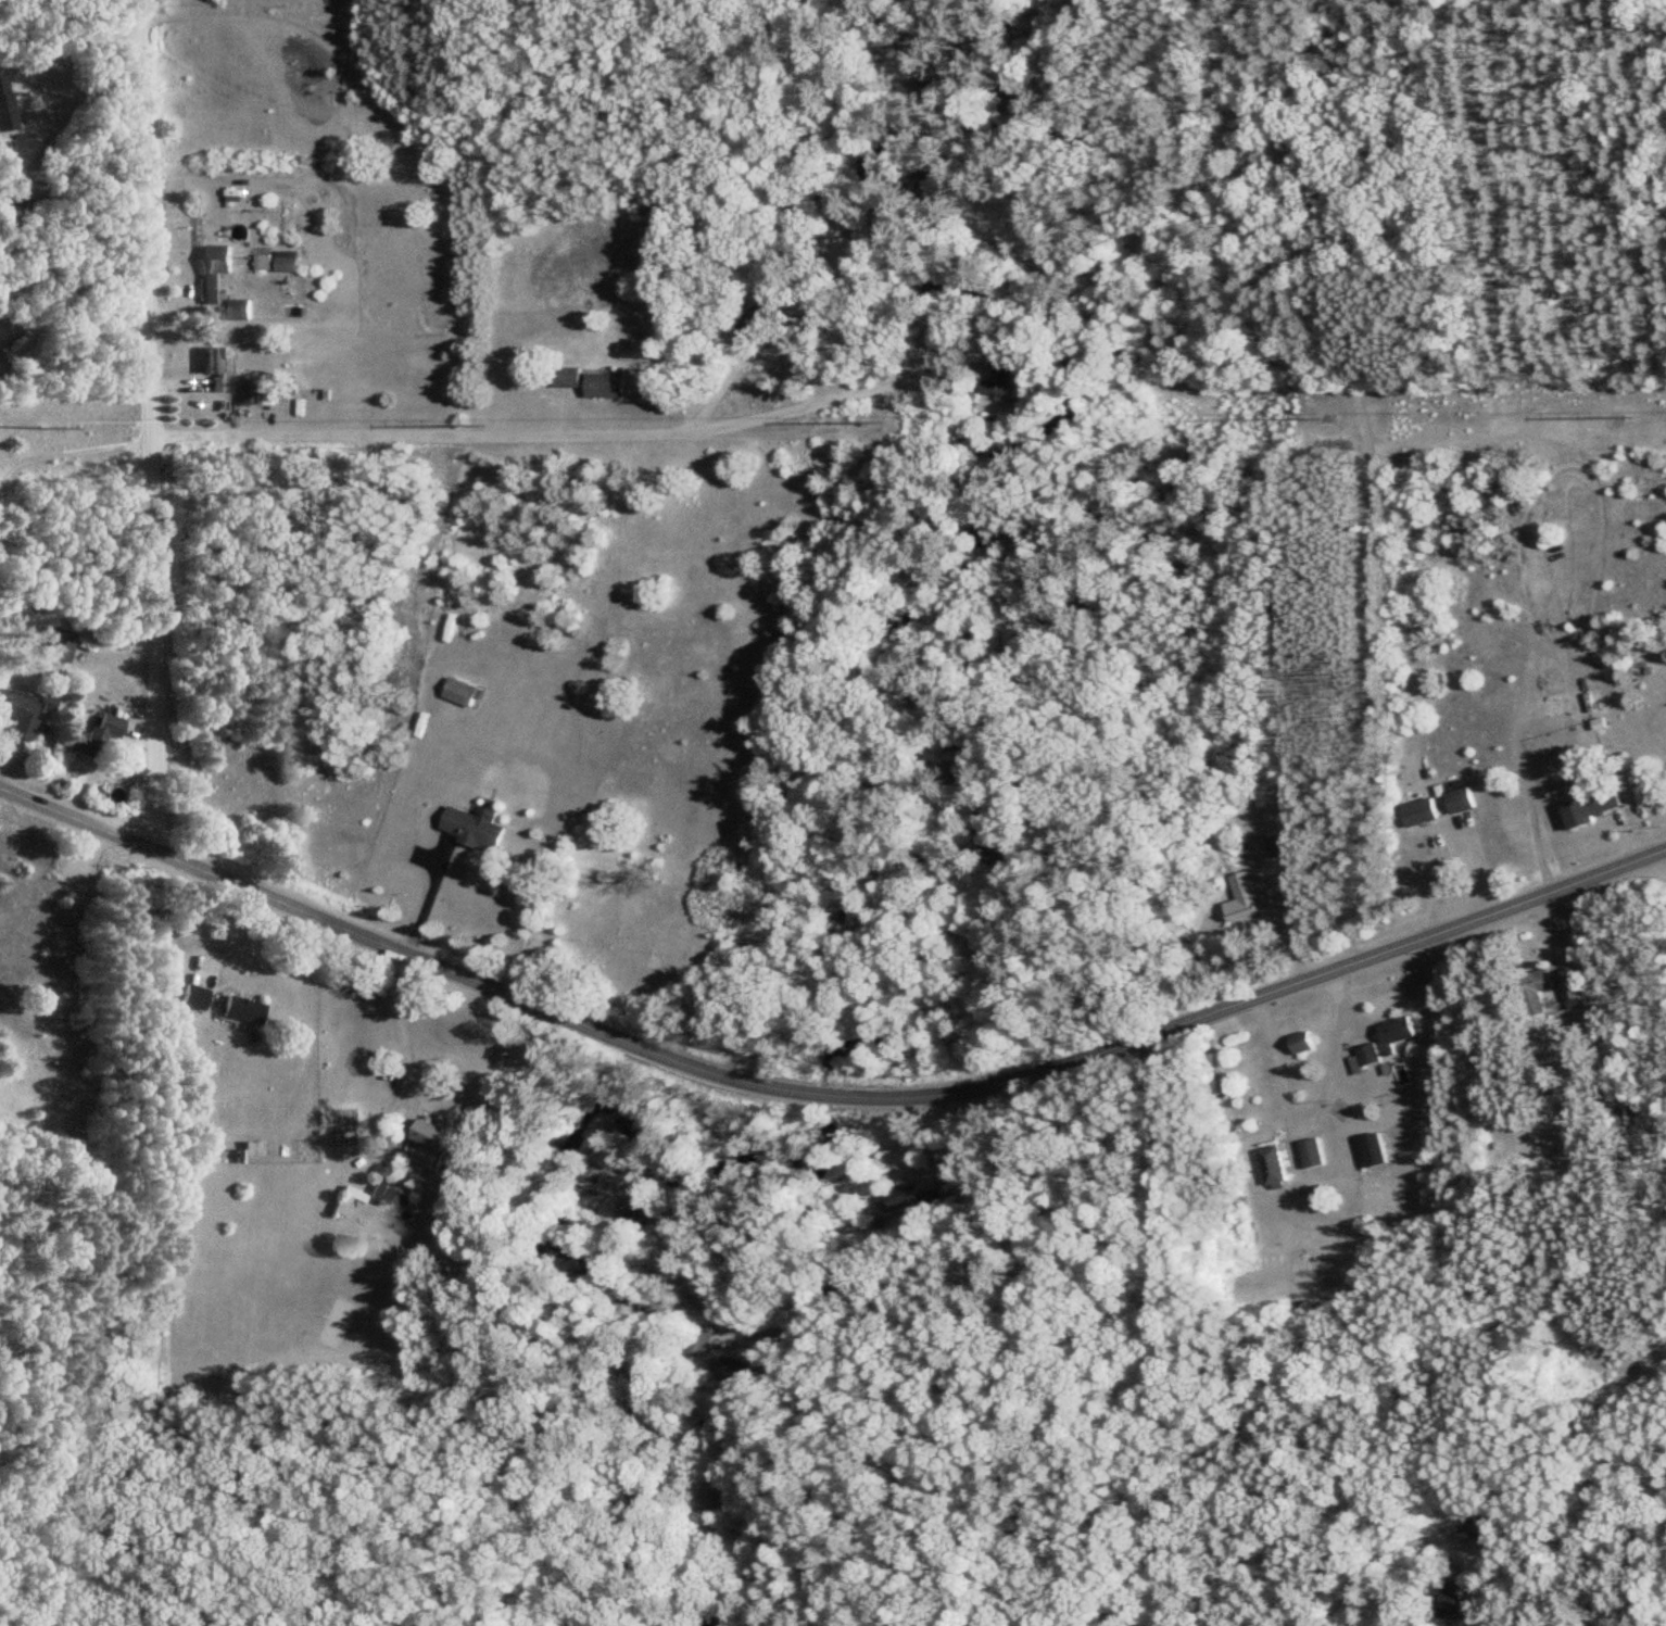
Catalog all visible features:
building: (901, 49)
road: (1136, 61)
road: (74, 104)
building: (2, 113)
building: (837, 206)
building: (282, 265)
building: (209, 273)
building: (237, 311)
road: (72, 332)
building: (212, 368)
road: (728, 377)
building: (567, 378)
building: (603, 386)
building: (994, 389)
building: (245, 394)
power tower: (1625, 416)
road: (146, 418)
power tower: (1317, 418)
power tower: (881, 420)
power tower: (481, 427)
power tower: (37, 428)
road: (626, 431)
road: (1368, 471)
building: (51, 647)
building: (458, 694)
building: (20, 714)
building: (102, 727)
building: (74, 745)
building: (1457, 803)
building: (1588, 809)
building: (1416, 814)
building: (470, 829)
building: (1434, 843)
road: (92, 848)
parking lot: (58, 866)
road: (431, 891)
building: (1240, 900)
building: (1532, 992)
building: (1569, 994)
building: (187, 998)
building: (235, 1010)
road: (1350, 1023)
building: (1394, 1032)
building: (1298, 1044)
road: (411, 1051)
building: (1365, 1056)
road: (823, 1095)
road: (1310, 1109)
building: (428, 1134)
building: (1370, 1150)
building: (1309, 1154)
building: (1270, 1165)
building: (590, 1177)
building: (377, 1183)
building: (341, 1193)
building: (906, 1198)
building: (635, 1210)
road: (75, 1250)
road: (1147, 1332)
road: (948, 1335)
building: (699, 1345)
building: (1480, 1528)
road: (1385, 1558)
building: (1448, 1598)

